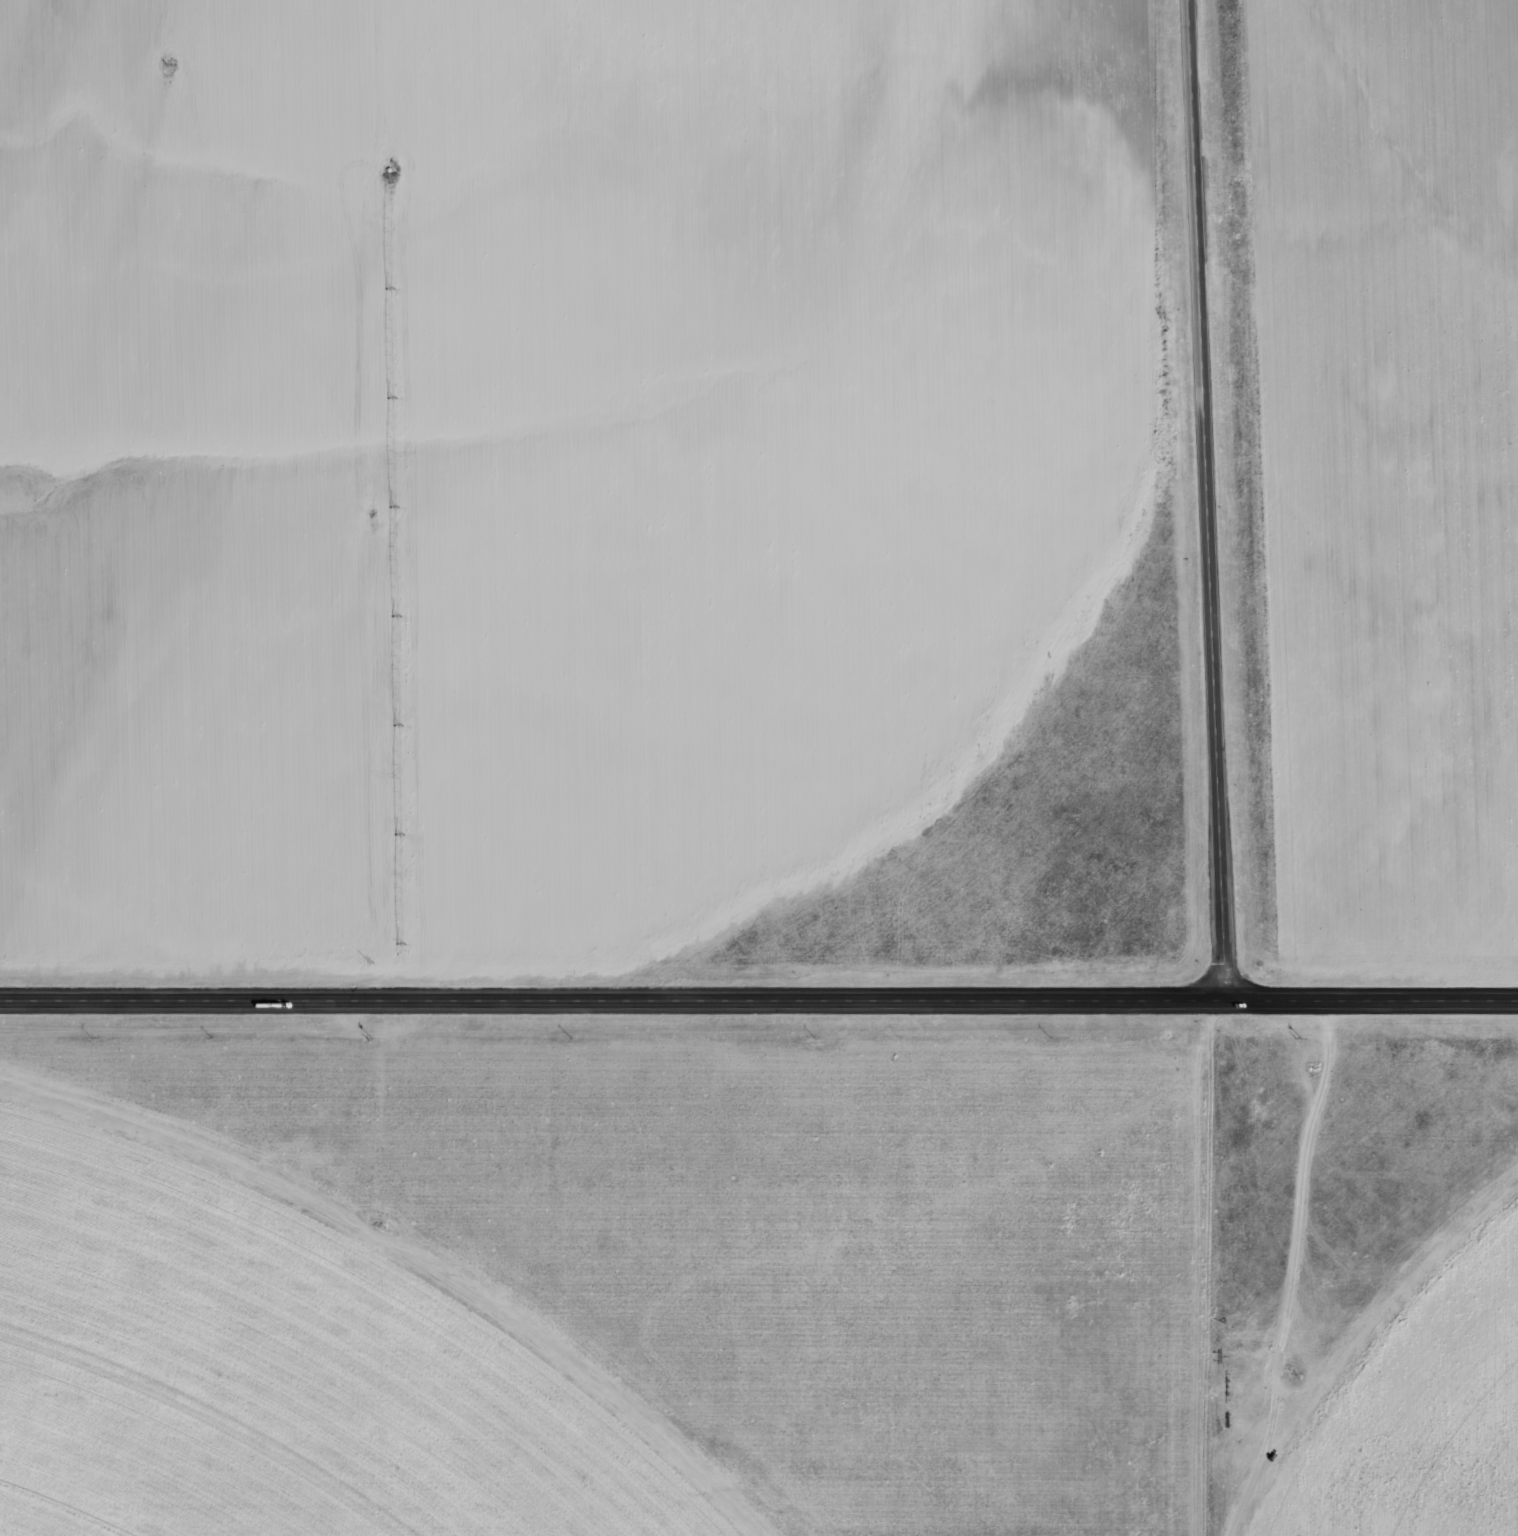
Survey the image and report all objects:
road: (1203, 500)
road: (758, 1002)
road: (1220, 1268)

